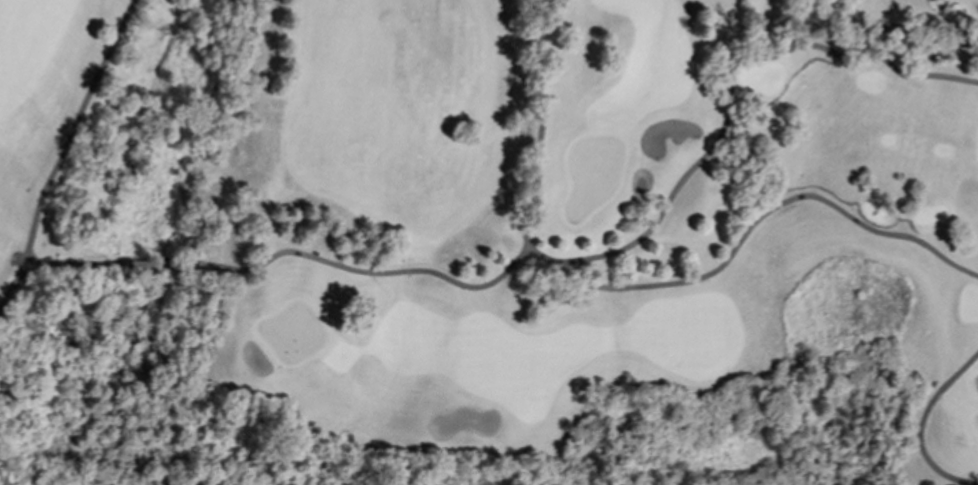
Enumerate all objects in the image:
road: (75, 129)
road: (543, 134)
park: (487, 242)
road: (586, 259)
road: (261, 266)
road: (921, 425)

